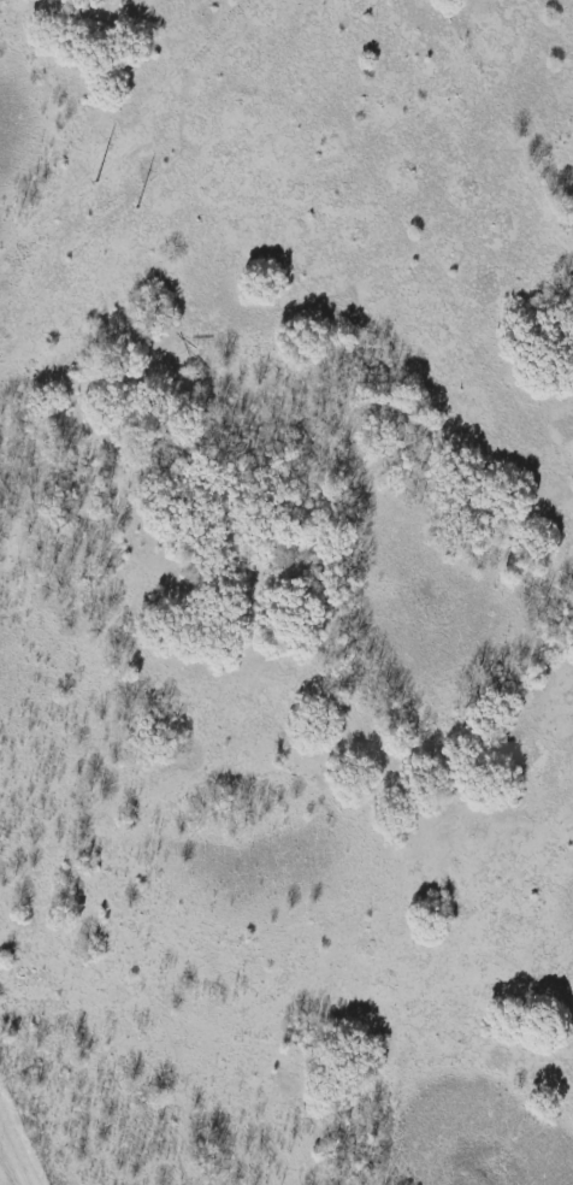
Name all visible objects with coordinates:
power tower: (100, 176)

